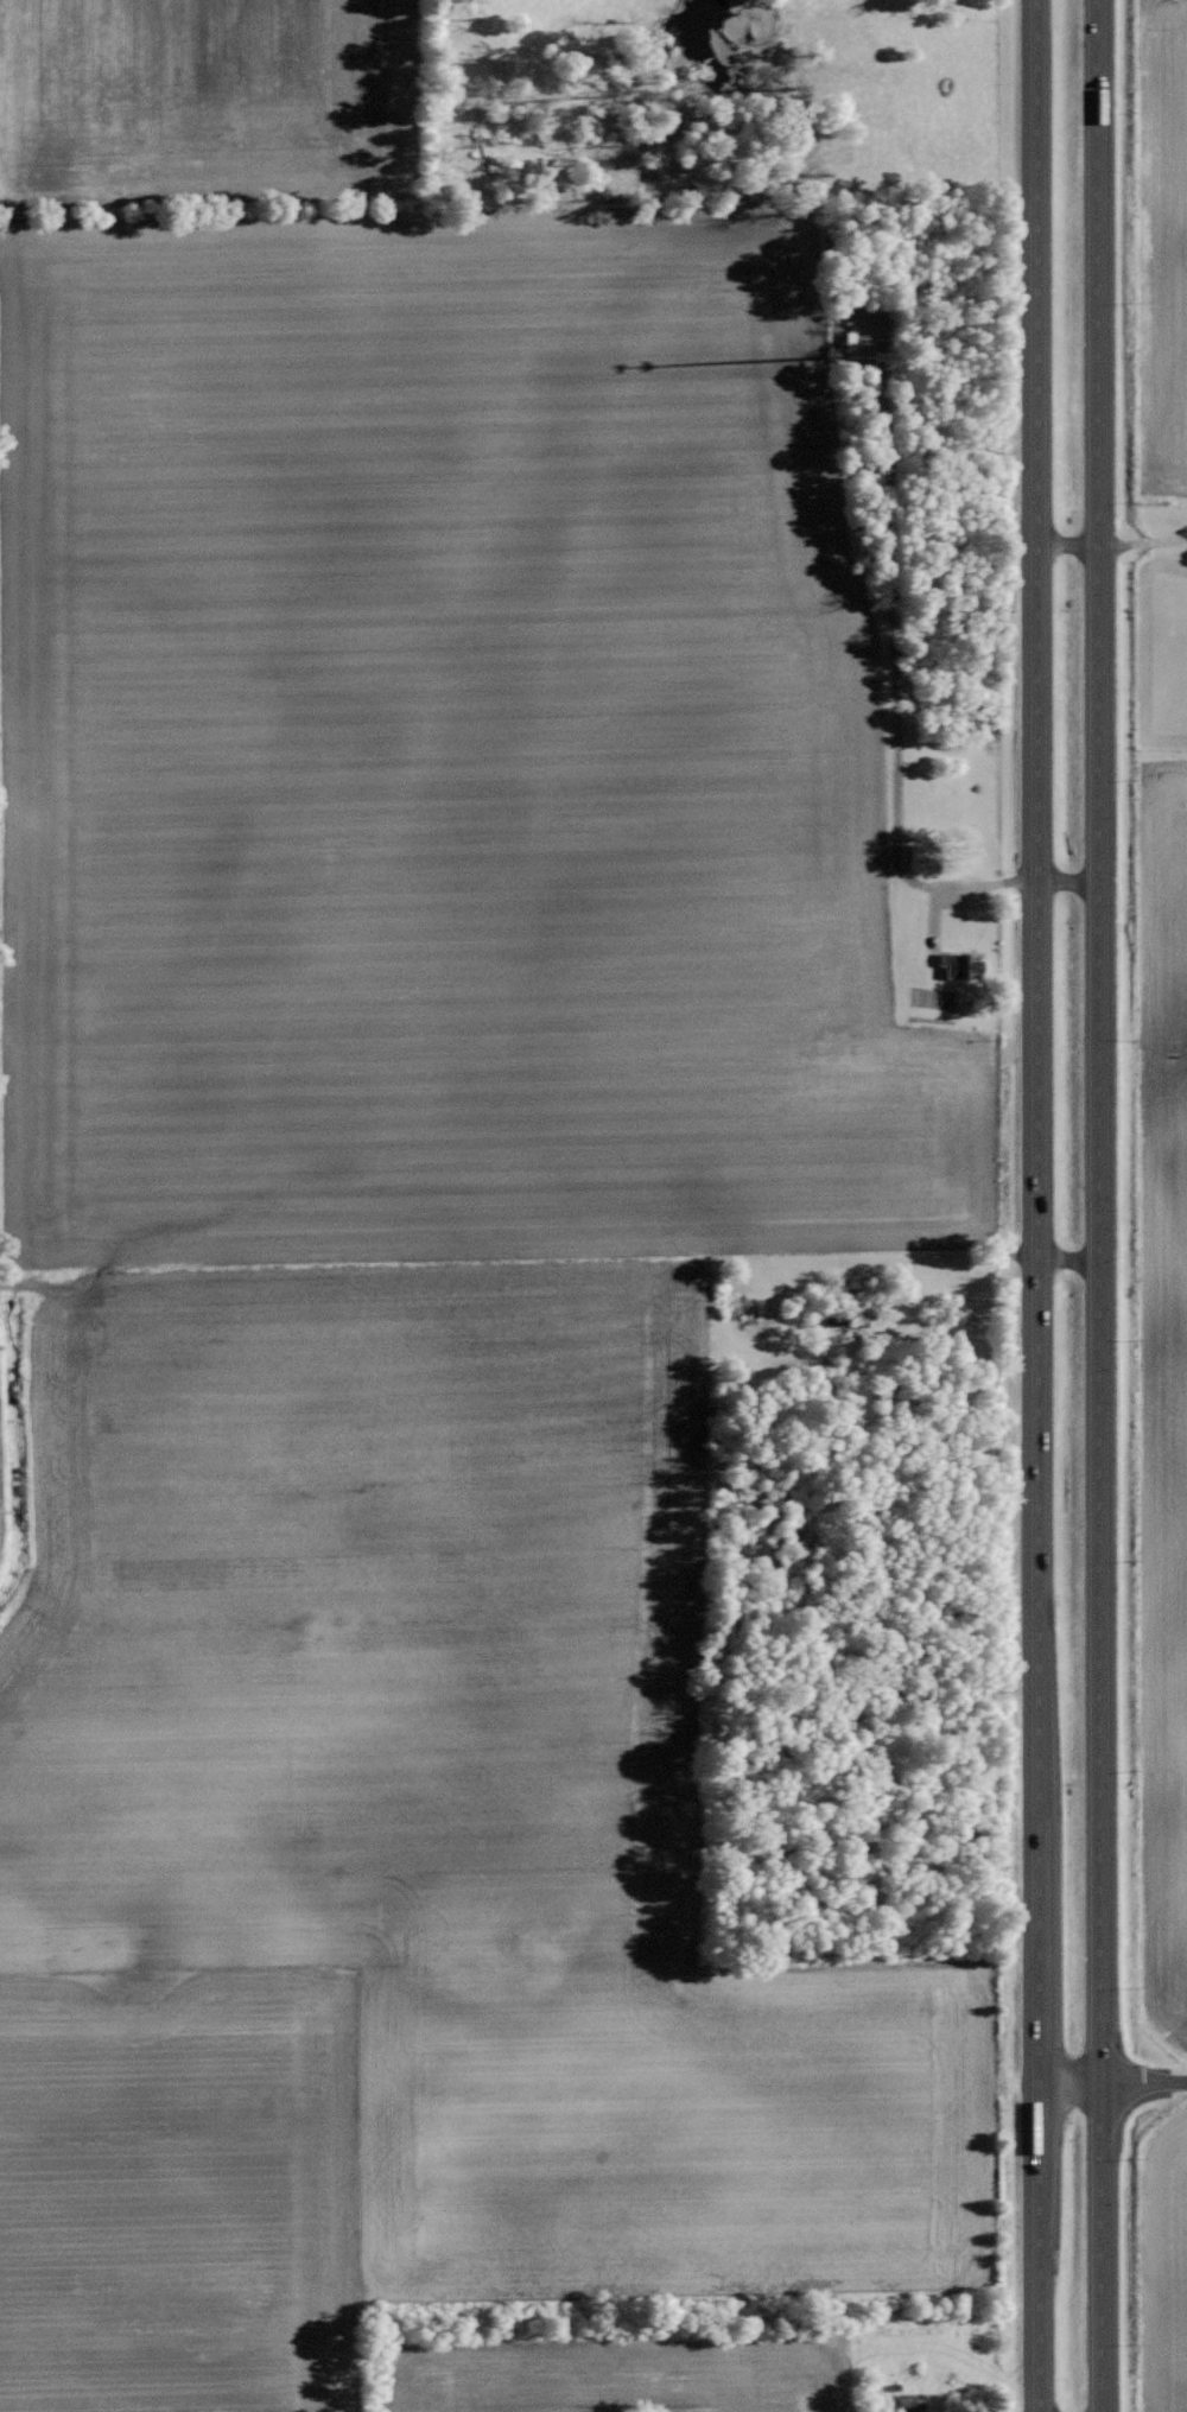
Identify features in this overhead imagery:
road: (1141, 537)
building: (923, 855)
building: (960, 964)
road: (1036, 1206)
road: (1096, 1206)
road: (1112, 2078)
building: (910, 2401)

